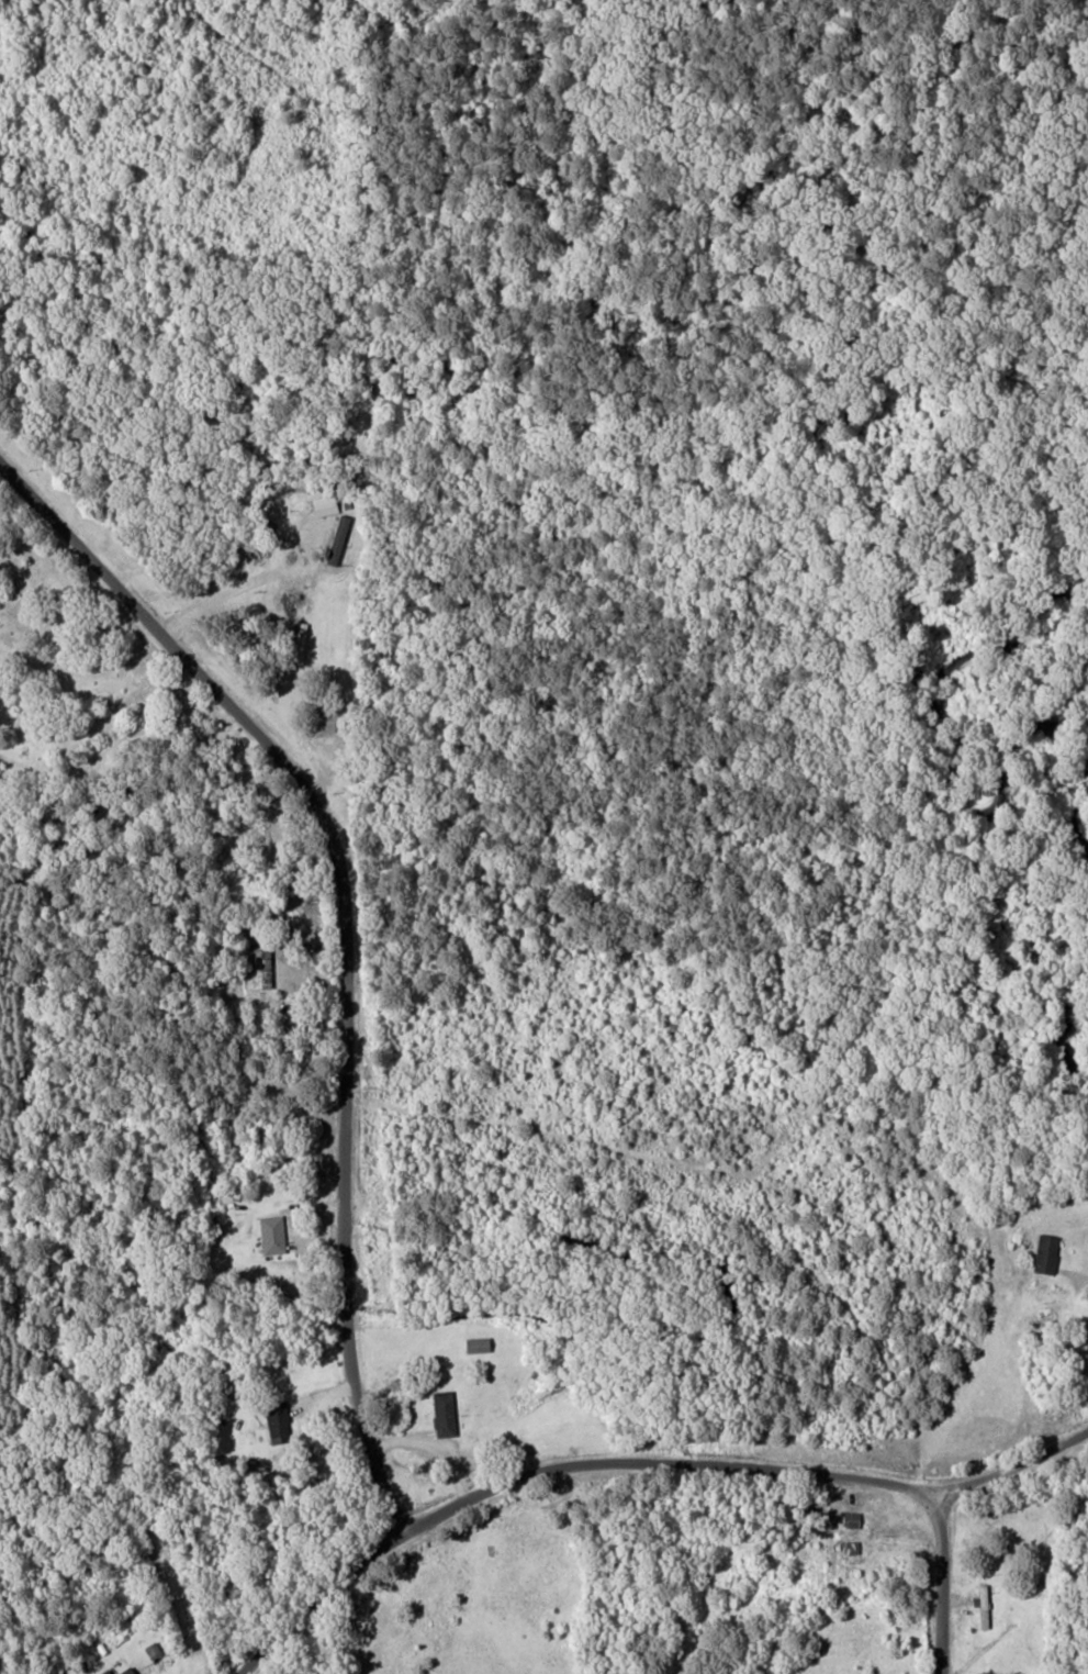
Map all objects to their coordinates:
building: (321, 504)
road: (343, 940)
building: (260, 968)
building: (268, 1234)
building: (1043, 1252)
building: (472, 1343)
building: (440, 1411)
building: (273, 1420)
road: (1016, 1463)
road: (556, 1469)
building: (848, 1518)
building: (846, 1545)
road: (939, 1582)
building: (123, 1670)

